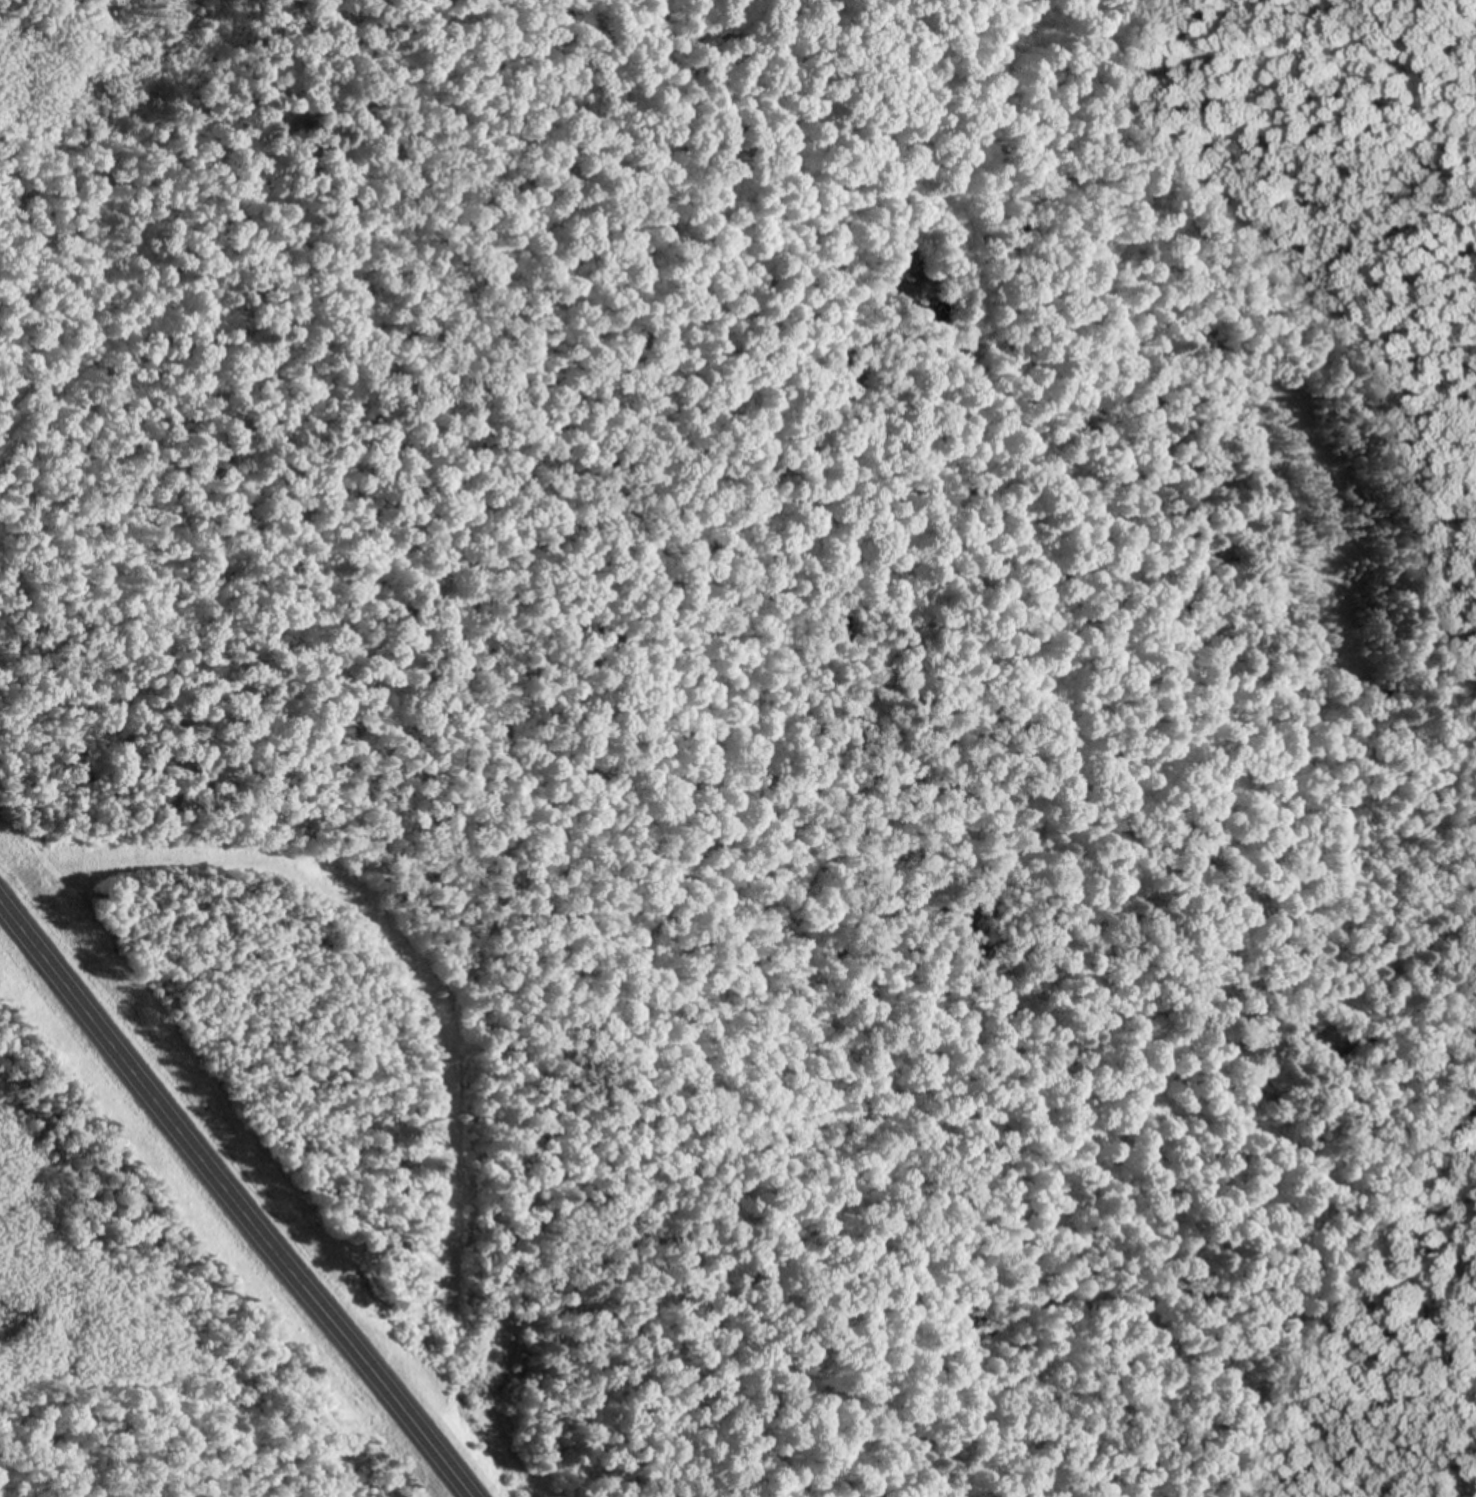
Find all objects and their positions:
road: (444, 969)
road: (235, 1195)

